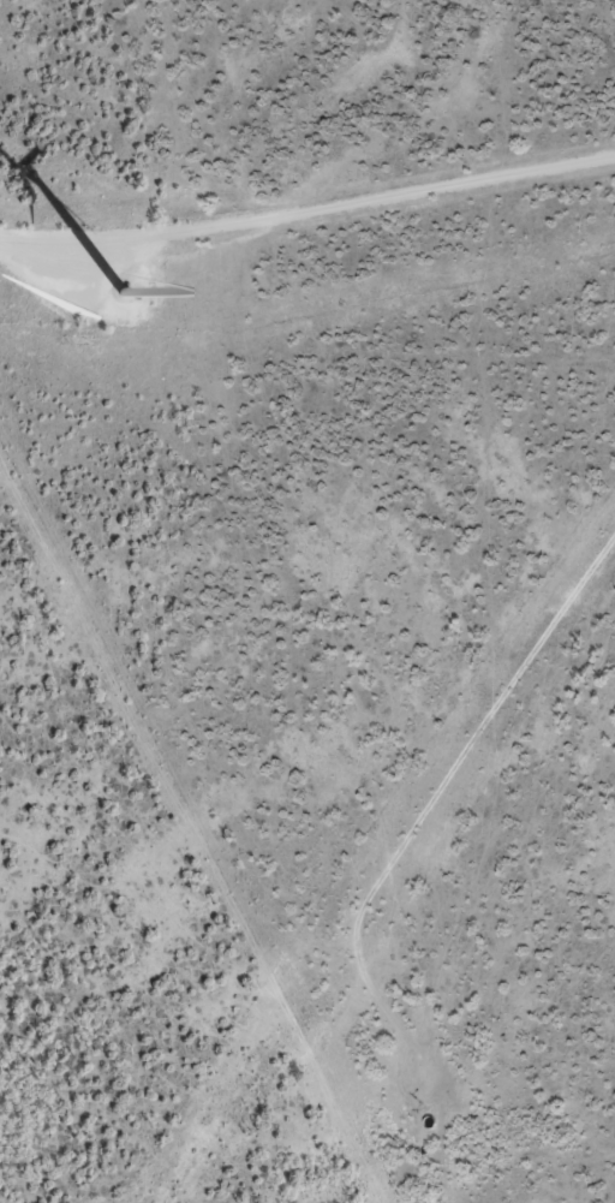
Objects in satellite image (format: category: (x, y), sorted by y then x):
wind turbine: (143, 302)

